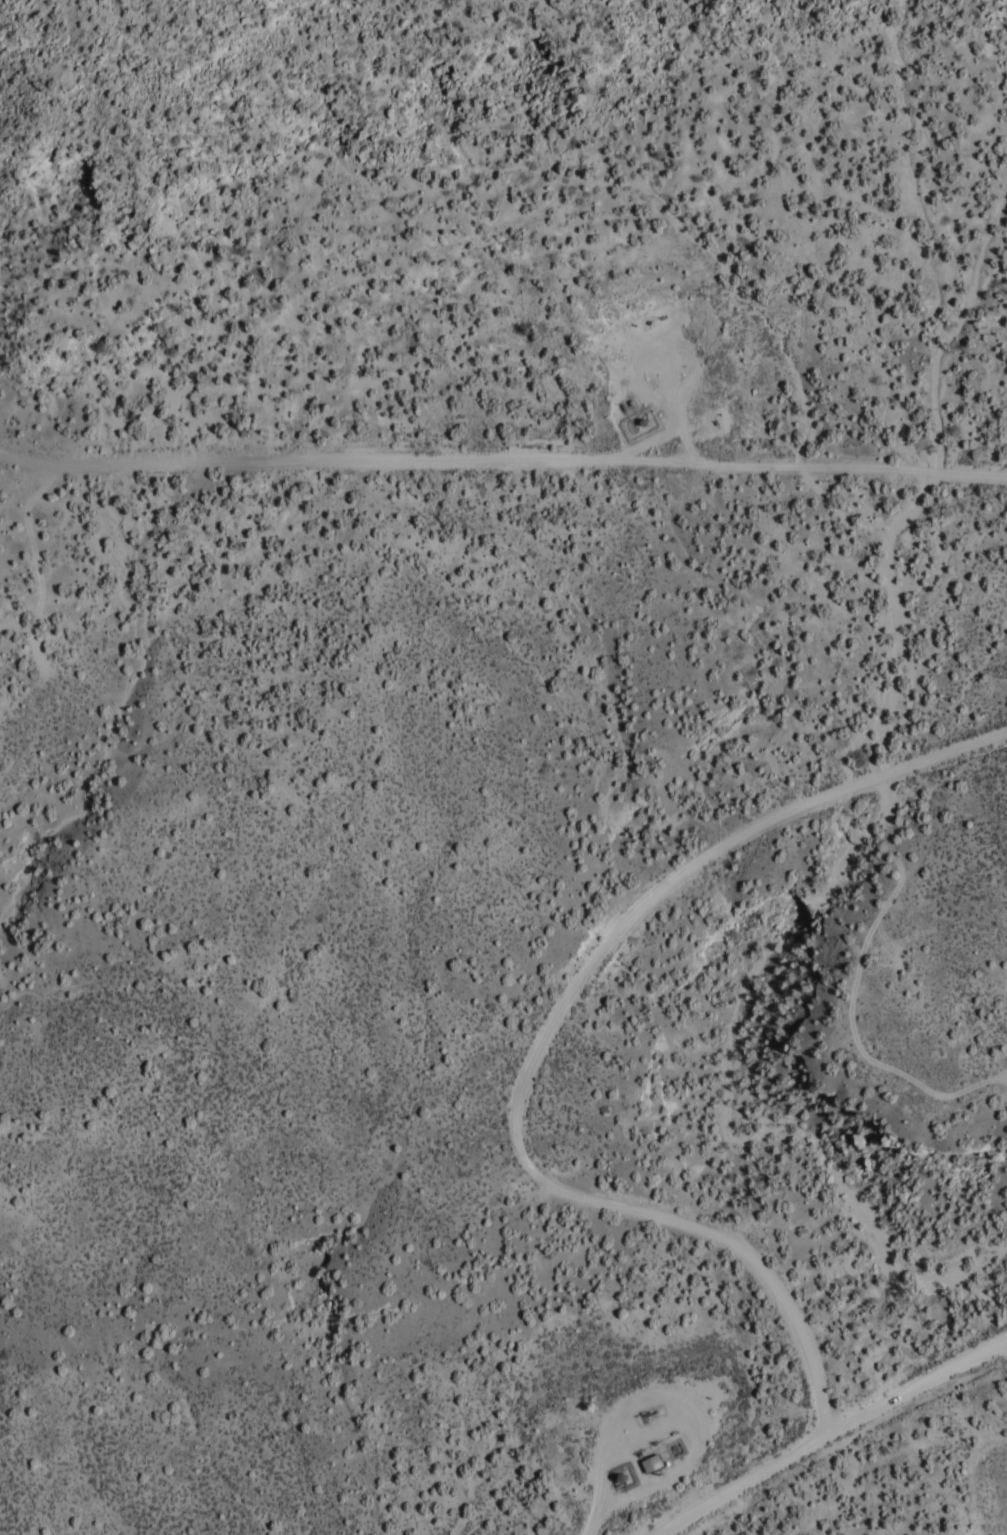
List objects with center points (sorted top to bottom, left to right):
road: (685, 417)
road: (657, 442)
road: (502, 458)
road: (546, 1043)
road: (688, 1401)
road: (831, 1433)
building: (649, 1460)
road: (597, 1526)

